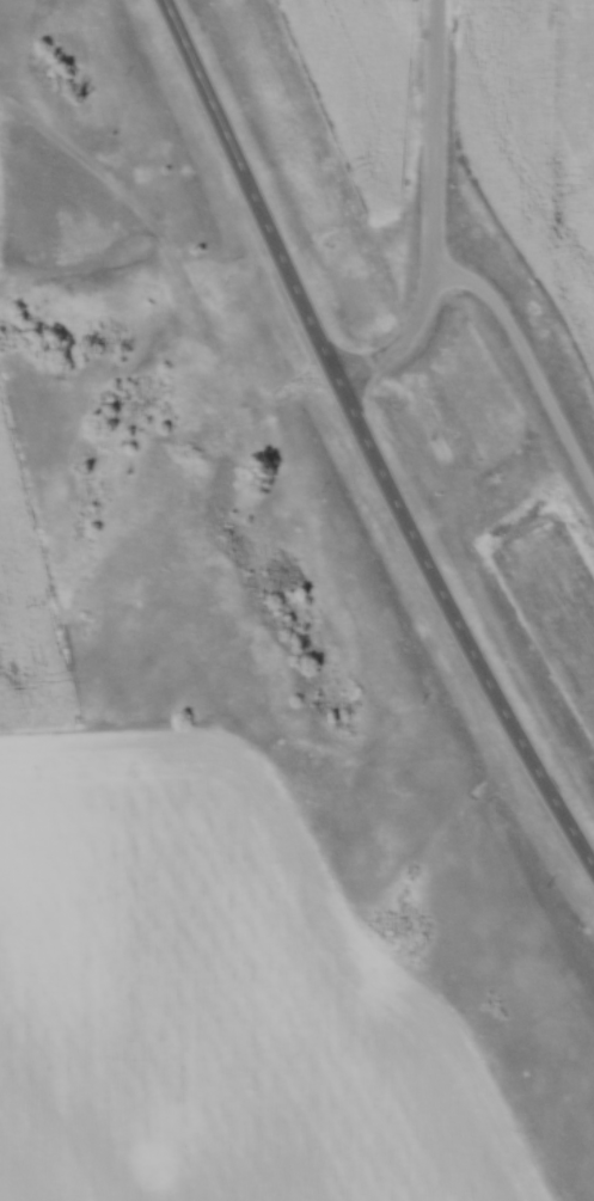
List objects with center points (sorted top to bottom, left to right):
road: (476, 251)
road: (367, 439)

